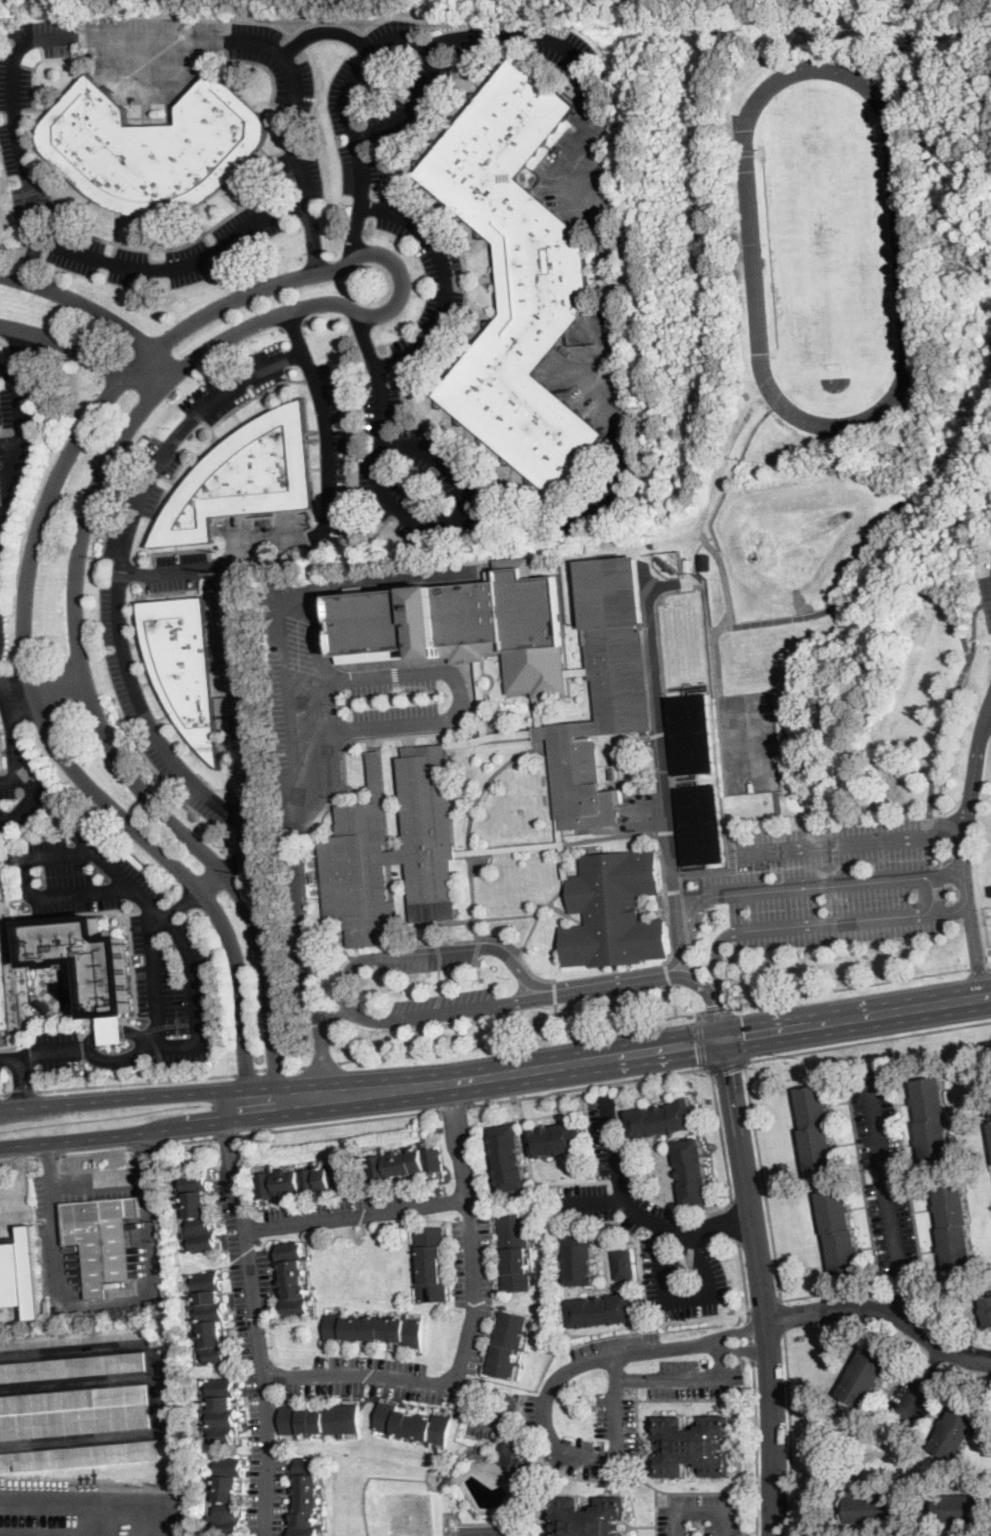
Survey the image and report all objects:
parking lot: (2, 0)
road: (330, 32)
road: (413, 38)
parking lot: (205, 48)
building: (216, 54)
road: (14, 72)
parking lot: (420, 87)
road: (412, 102)
parking lot: (14, 118)
building: (153, 147)
parking lot: (259, 216)
road: (357, 225)
road: (311, 234)
park: (826, 247)
track: (825, 250)
road: (29, 256)
building: (735, 260)
building: (516, 277)
parking lot: (445, 288)
road: (440, 307)
road: (96, 311)
road: (296, 332)
road: (83, 351)
road: (614, 366)
building: (746, 396)
parking lot: (16, 404)
road: (22, 406)
road: (201, 410)
parking lot: (332, 440)
building: (244, 477)
parking lot: (463, 484)
road: (12, 485)
road: (421, 522)
building: (705, 563)
building: (687, 565)
power tower: (220, 573)
power tower: (4, 585)
road: (24, 598)
road: (934, 599)
parking lot: (986, 599)
road: (987, 604)
parking lot: (113, 621)
road: (76, 622)
road: (989, 623)
building: (466, 624)
road: (974, 631)
building: (684, 642)
building: (183, 665)
building: (577, 671)
road: (326, 680)
road: (241, 687)
road: (44, 688)
building: (603, 691)
building: (481, 693)
road: (460, 695)
building: (223, 704)
building: (539, 712)
road: (987, 713)
road: (11, 732)
building: (691, 733)
power tower: (238, 744)
building: (540, 744)
road: (661, 746)
building: (1, 758)
road: (38, 792)
parking lot: (22, 797)
road: (968, 798)
building: (700, 824)
road: (851, 838)
building: (394, 850)
road: (237, 861)
building: (564, 867)
parking lot: (79, 873)
power tower: (252, 875)
road: (213, 882)
road: (64, 894)
road: (187, 903)
building: (613, 911)
building: (435, 932)
road: (975, 949)
road: (979, 968)
building: (89, 969)
parking lot: (173, 972)
road: (621, 974)
building: (4, 981)
road: (849, 986)
road: (157, 995)
road: (674, 1001)
building: (43, 1007)
road: (718, 1009)
road: (698, 1015)
road: (720, 1016)
road: (857, 1017)
road: (117, 1028)
road: (743, 1032)
traffic signals: (723, 1039)
road: (521, 1040)
road: (322, 1042)
road: (701, 1044)
road: (83, 1046)
parking lot: (57, 1048)
power tower: (797, 1057)
road: (323, 1063)
road: (296, 1067)
road: (728, 1068)
road: (259, 1069)
road: (274, 1069)
road: (245, 1070)
road: (85, 1071)
road: (474, 1078)
road: (23, 1079)
road: (136, 1080)
road: (714, 1086)
road: (749, 1087)
road: (3, 1088)
road: (22, 1091)
road: (3, 1093)
road: (125, 1097)
road: (13, 1106)
road: (451, 1106)
power tower: (492, 1106)
building: (662, 1119)
building: (931, 1120)
road: (336, 1121)
building: (990, 1123)
building: (990, 1127)
building: (816, 1128)
road: (226, 1134)
road: (114, 1135)
road: (185, 1139)
building: (556, 1139)
power tower: (274, 1142)
road: (141, 1145)
road: (94, 1149)
road: (144, 1151)
road: (48, 1154)
road: (17, 1157)
building: (507, 1158)
road: (49, 1161)
building: (404, 1163)
building: (692, 1172)
parking lot: (885, 1176)
building: (302, 1181)
road: (10, 1190)
road: (598, 1197)
road: (888, 1200)
road: (21, 1201)
parking lot: (12, 1206)
road: (640, 1210)
road: (355, 1211)
building: (198, 1213)
road: (734, 1221)
parking lot: (50, 1224)
building: (953, 1226)
parking lot: (646, 1227)
building: (839, 1231)
road: (470, 1234)
building: (102, 1238)
building: (515, 1252)
building: (580, 1259)
building: (622, 1263)
building: (431, 1264)
building: (30, 1272)
building: (11, 1276)
road: (743, 1278)
building: (293, 1280)
road: (761, 1286)
road: (683, 1297)
road: (59, 1307)
road: (764, 1307)
building: (603, 1310)
building: (986, 1310)
road: (883, 1313)
road: (782, 1316)
building: (209, 1317)
road: (254, 1319)
building: (374, 1330)
building: (77, 1338)
road: (749, 1339)
building: (507, 1345)
parking lot: (617, 1352)
parking lot: (975, 1356)
building: (72, 1367)
road: (357, 1376)
road: (686, 1377)
building: (864, 1377)
parking lot: (694, 1379)
road: (920, 1381)
road: (549, 1389)
parking lot: (911, 1399)
building: (220, 1410)
building: (74, 1412)
parking lot: (615, 1419)
building: (320, 1420)
building: (412, 1425)
building: (956, 1430)
road: (789, 1433)
building: (569, 1441)
building: (692, 1446)
road: (756, 1448)
building: (81, 1456)
building: (516, 1463)
building: (441, 1479)
building: (447, 1481)
building: (227, 1497)
building: (306, 1497)
parking lot: (89, 1505)
building: (871, 1509)
building: (960, 1509)
road: (700, 1513)
building: (588, 1516)
parking lot: (700, 1516)
park: (490, 1530)

